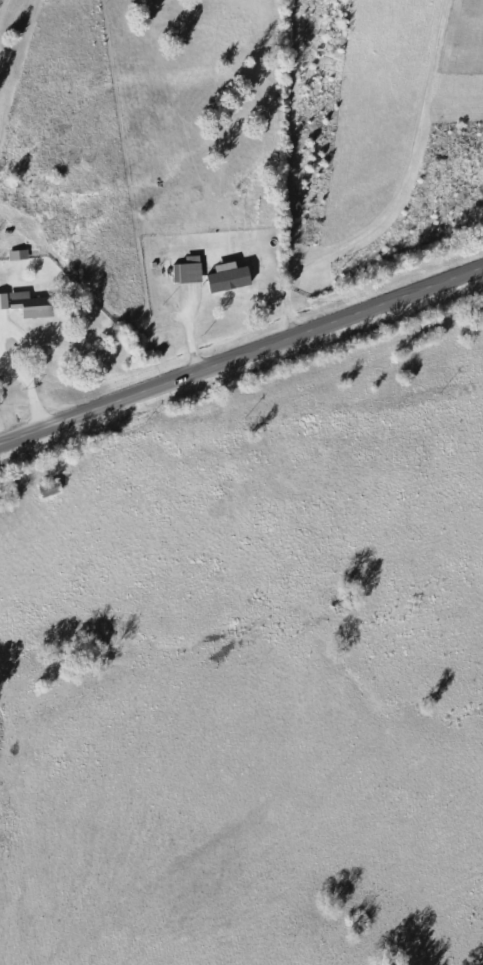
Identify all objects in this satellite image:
building: (21, 255)
building: (192, 270)
building: (233, 277)
building: (6, 301)
building: (36, 305)
road: (241, 354)

